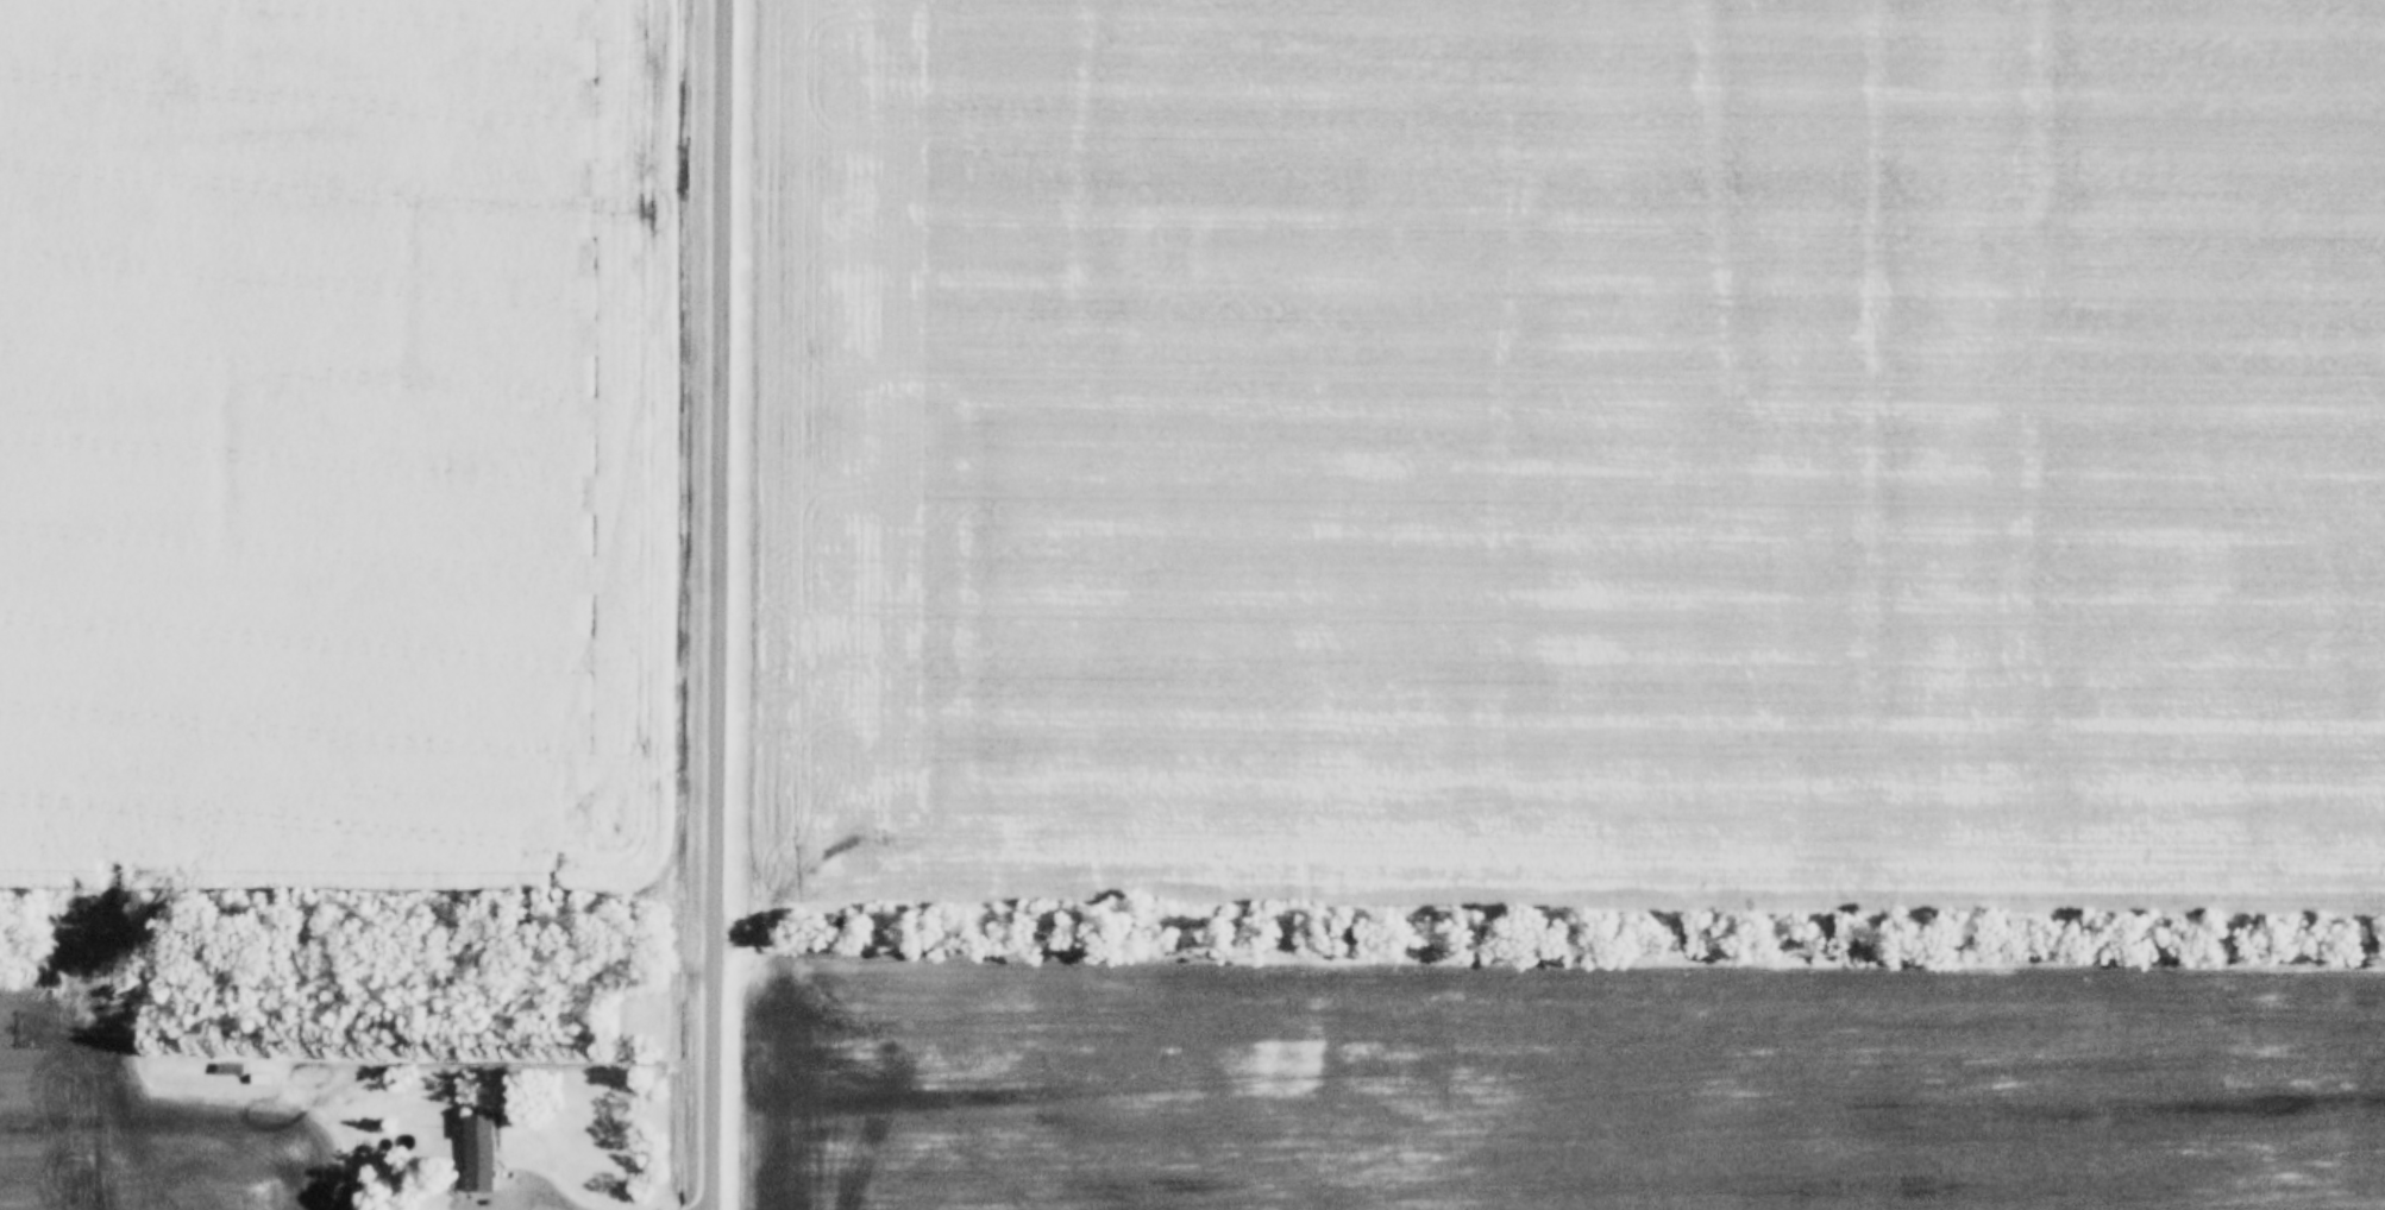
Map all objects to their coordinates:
road: (718, 605)
building: (228, 1069)
building: (479, 1154)

